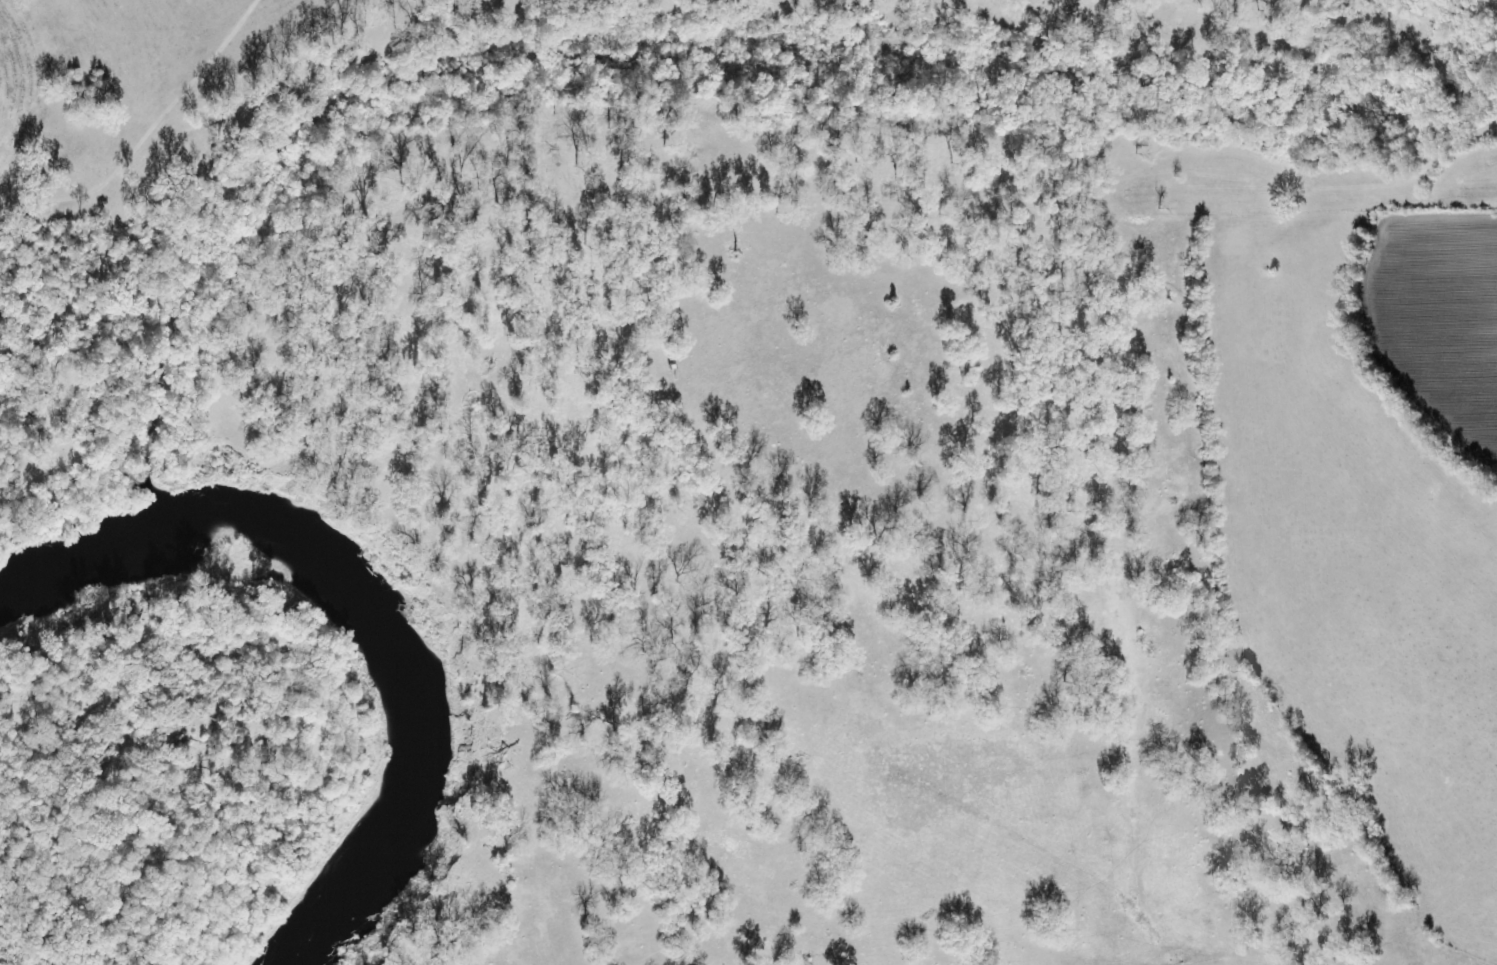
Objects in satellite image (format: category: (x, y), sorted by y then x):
river: (371, 612)

